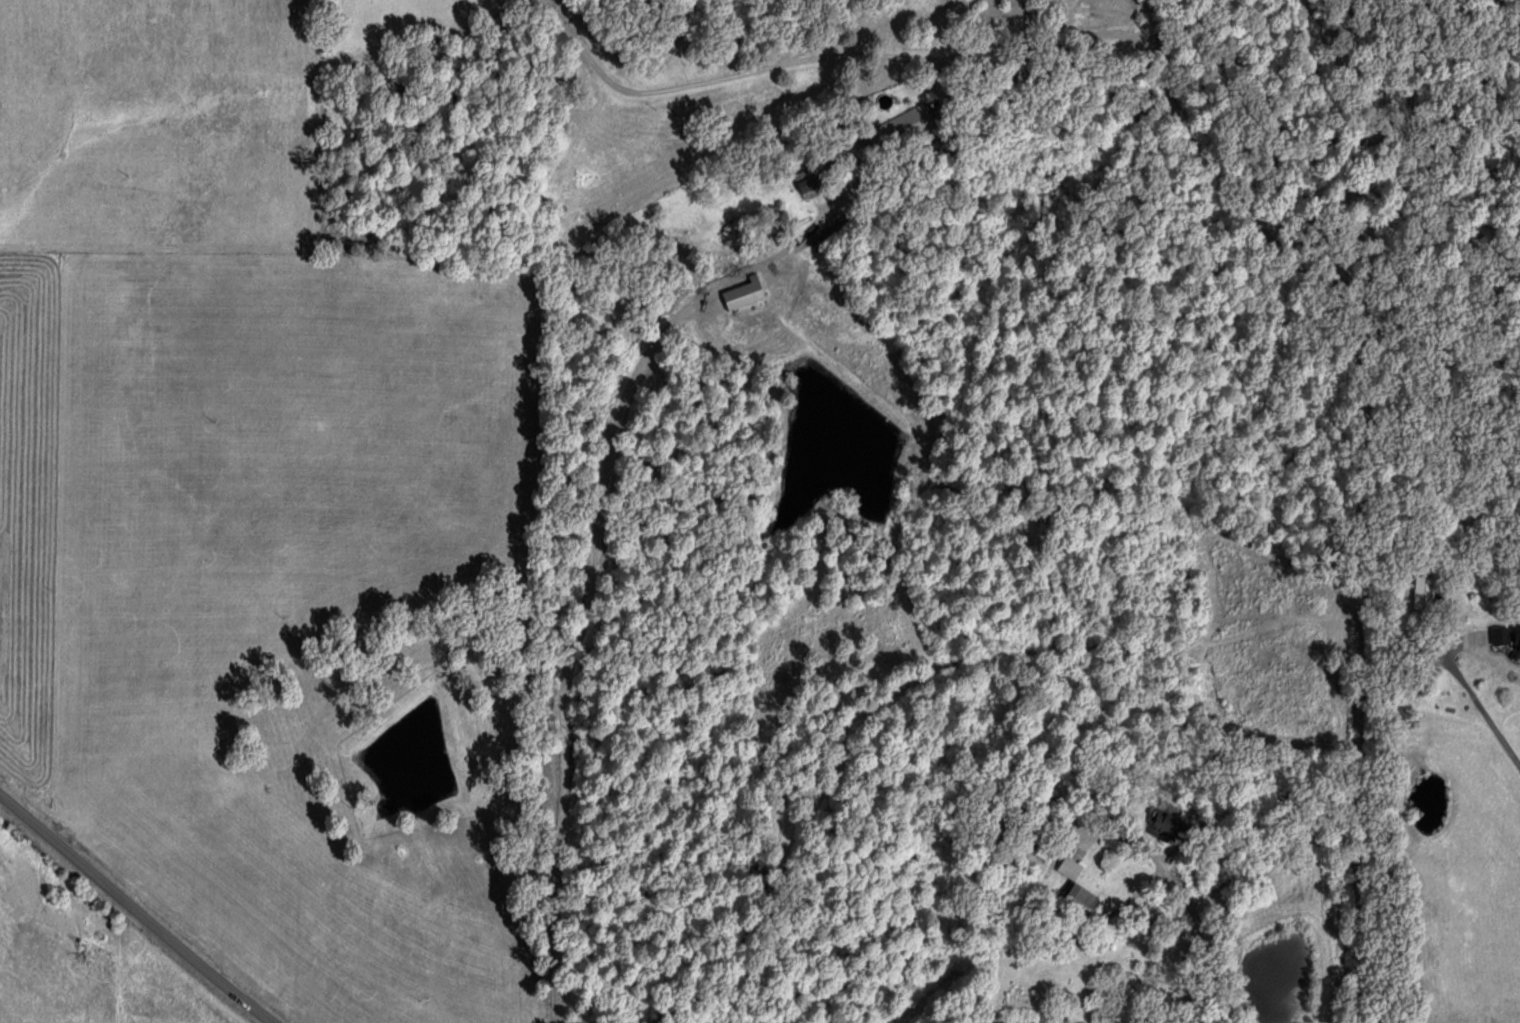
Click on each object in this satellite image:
building: (805, 183)
building: (828, 233)
building: (740, 294)
road: (1370, 461)
building: (1423, 592)
building: (1506, 635)
road: (1476, 696)
building: (1067, 867)
building: (1077, 896)
road: (148, 904)

